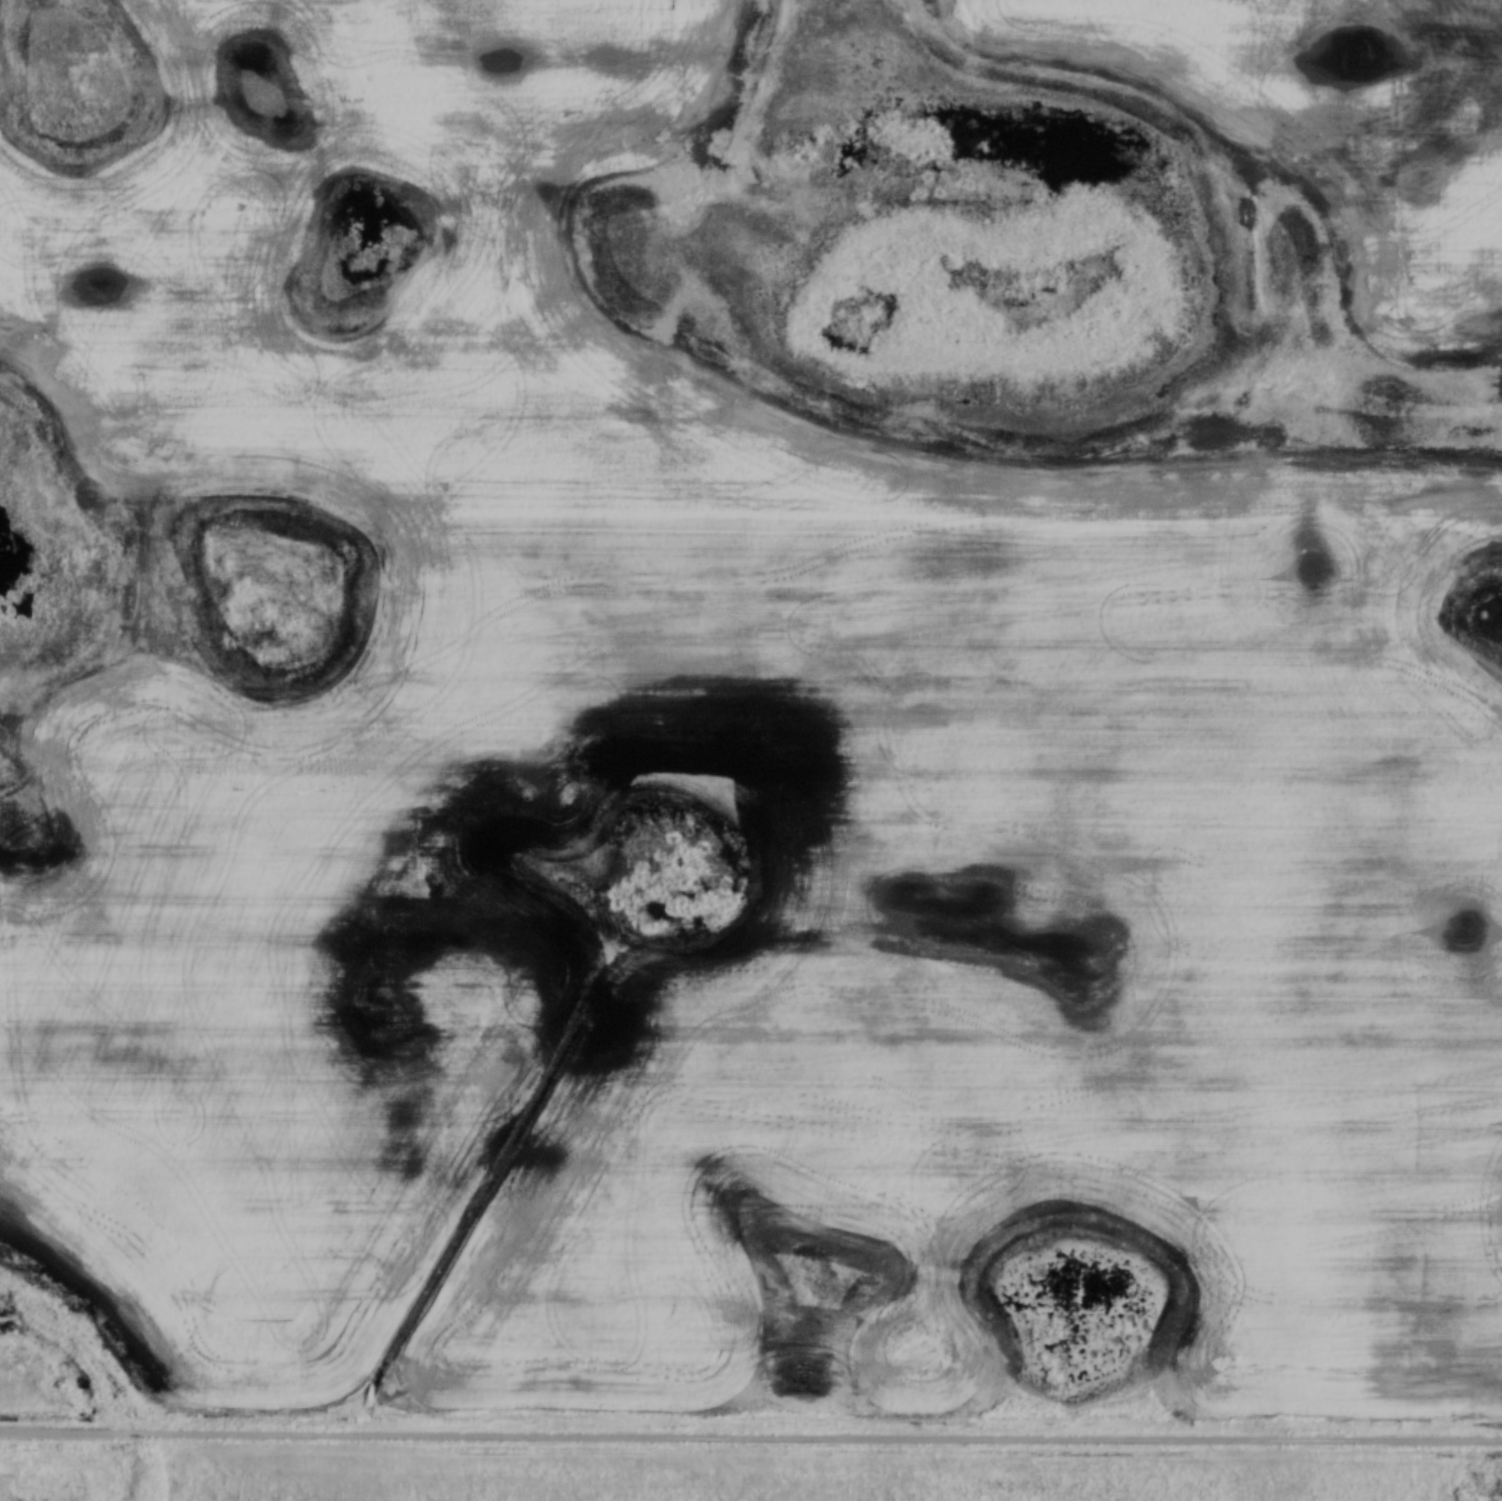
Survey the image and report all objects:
road: (751, 1431)

